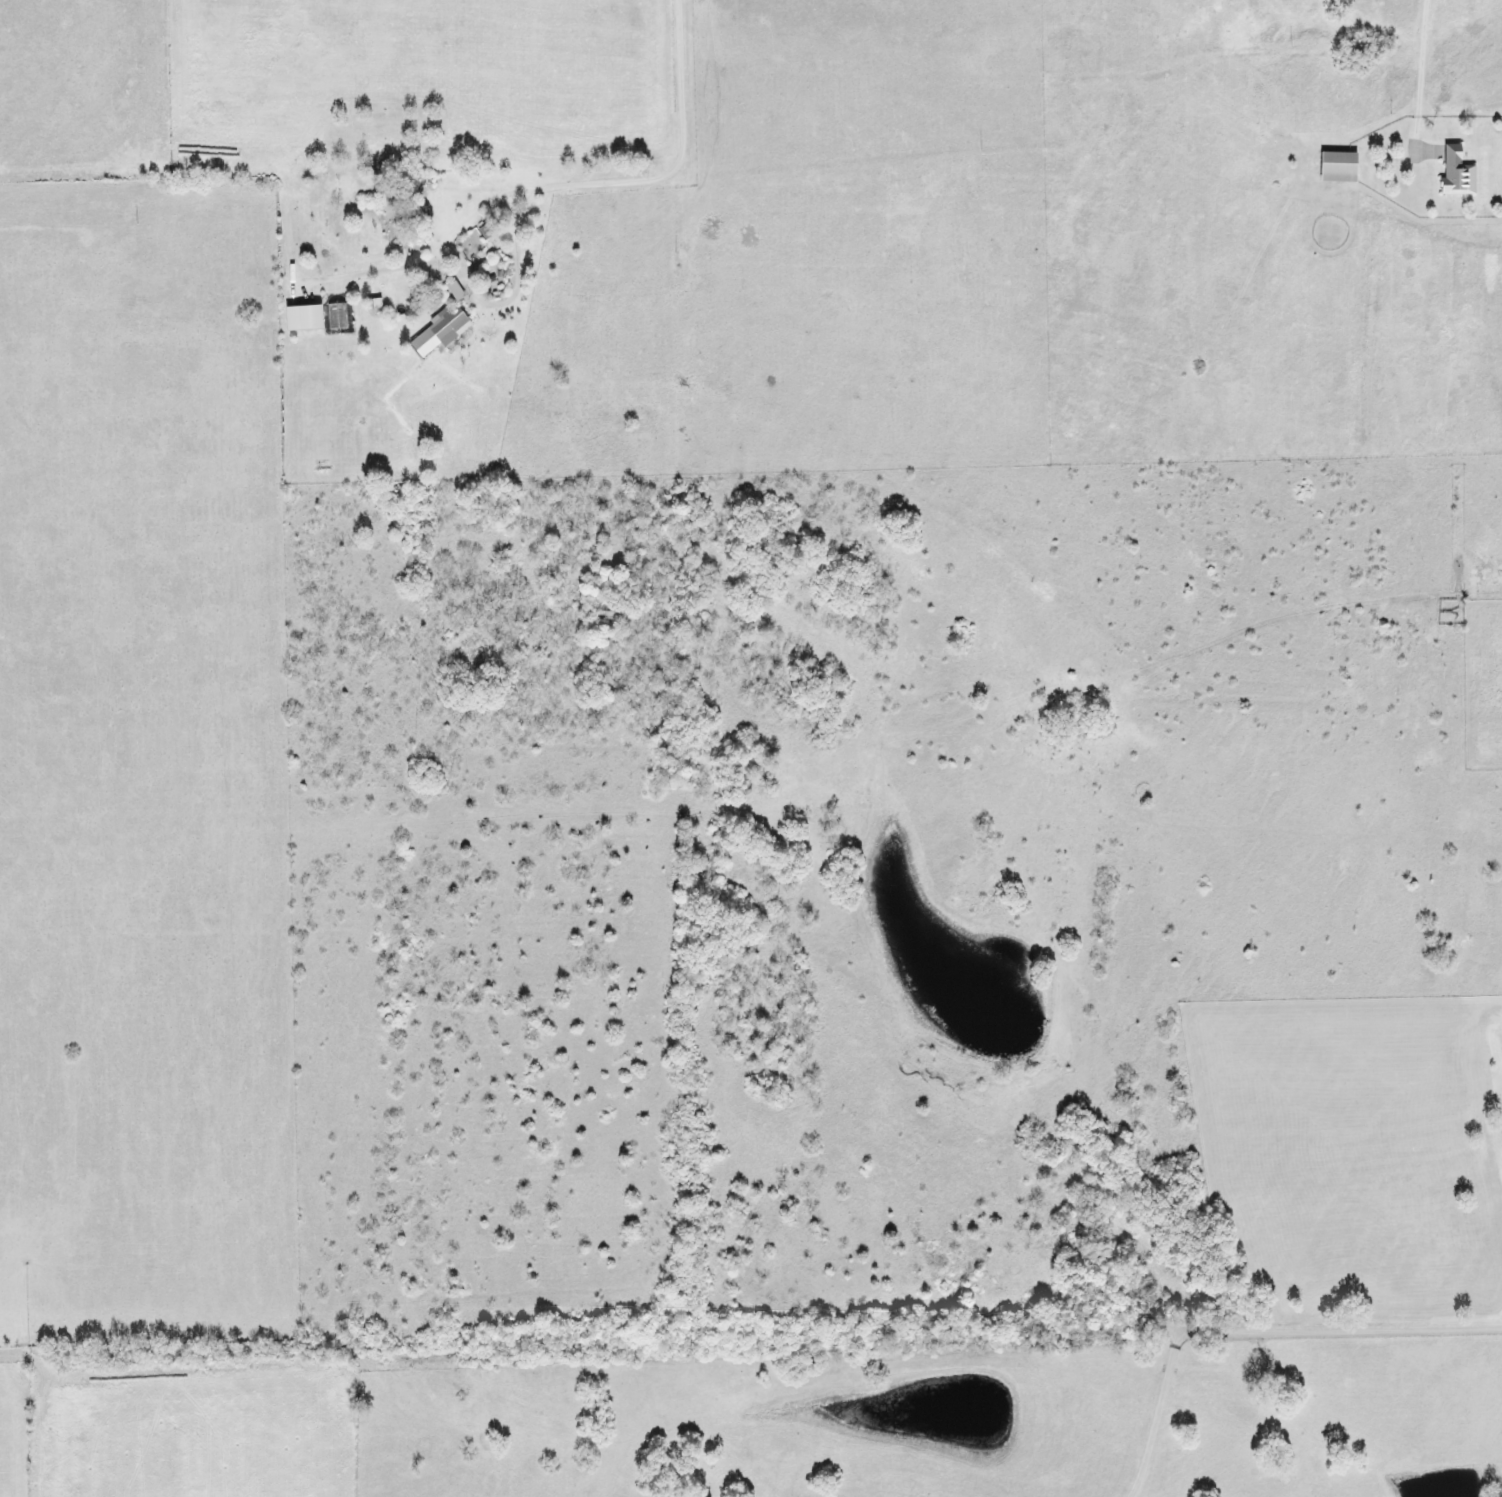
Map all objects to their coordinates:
building: (1331, 167)
building: (1450, 173)
building: (444, 328)
road: (1434, 435)
building: (600, 612)
building: (1499, 1046)
road: (1347, 1327)

